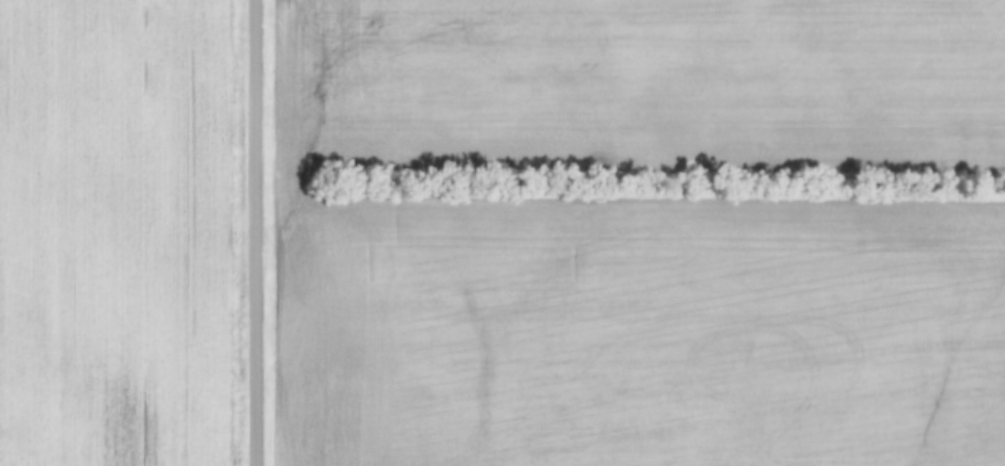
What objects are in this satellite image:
road: (254, 233)

